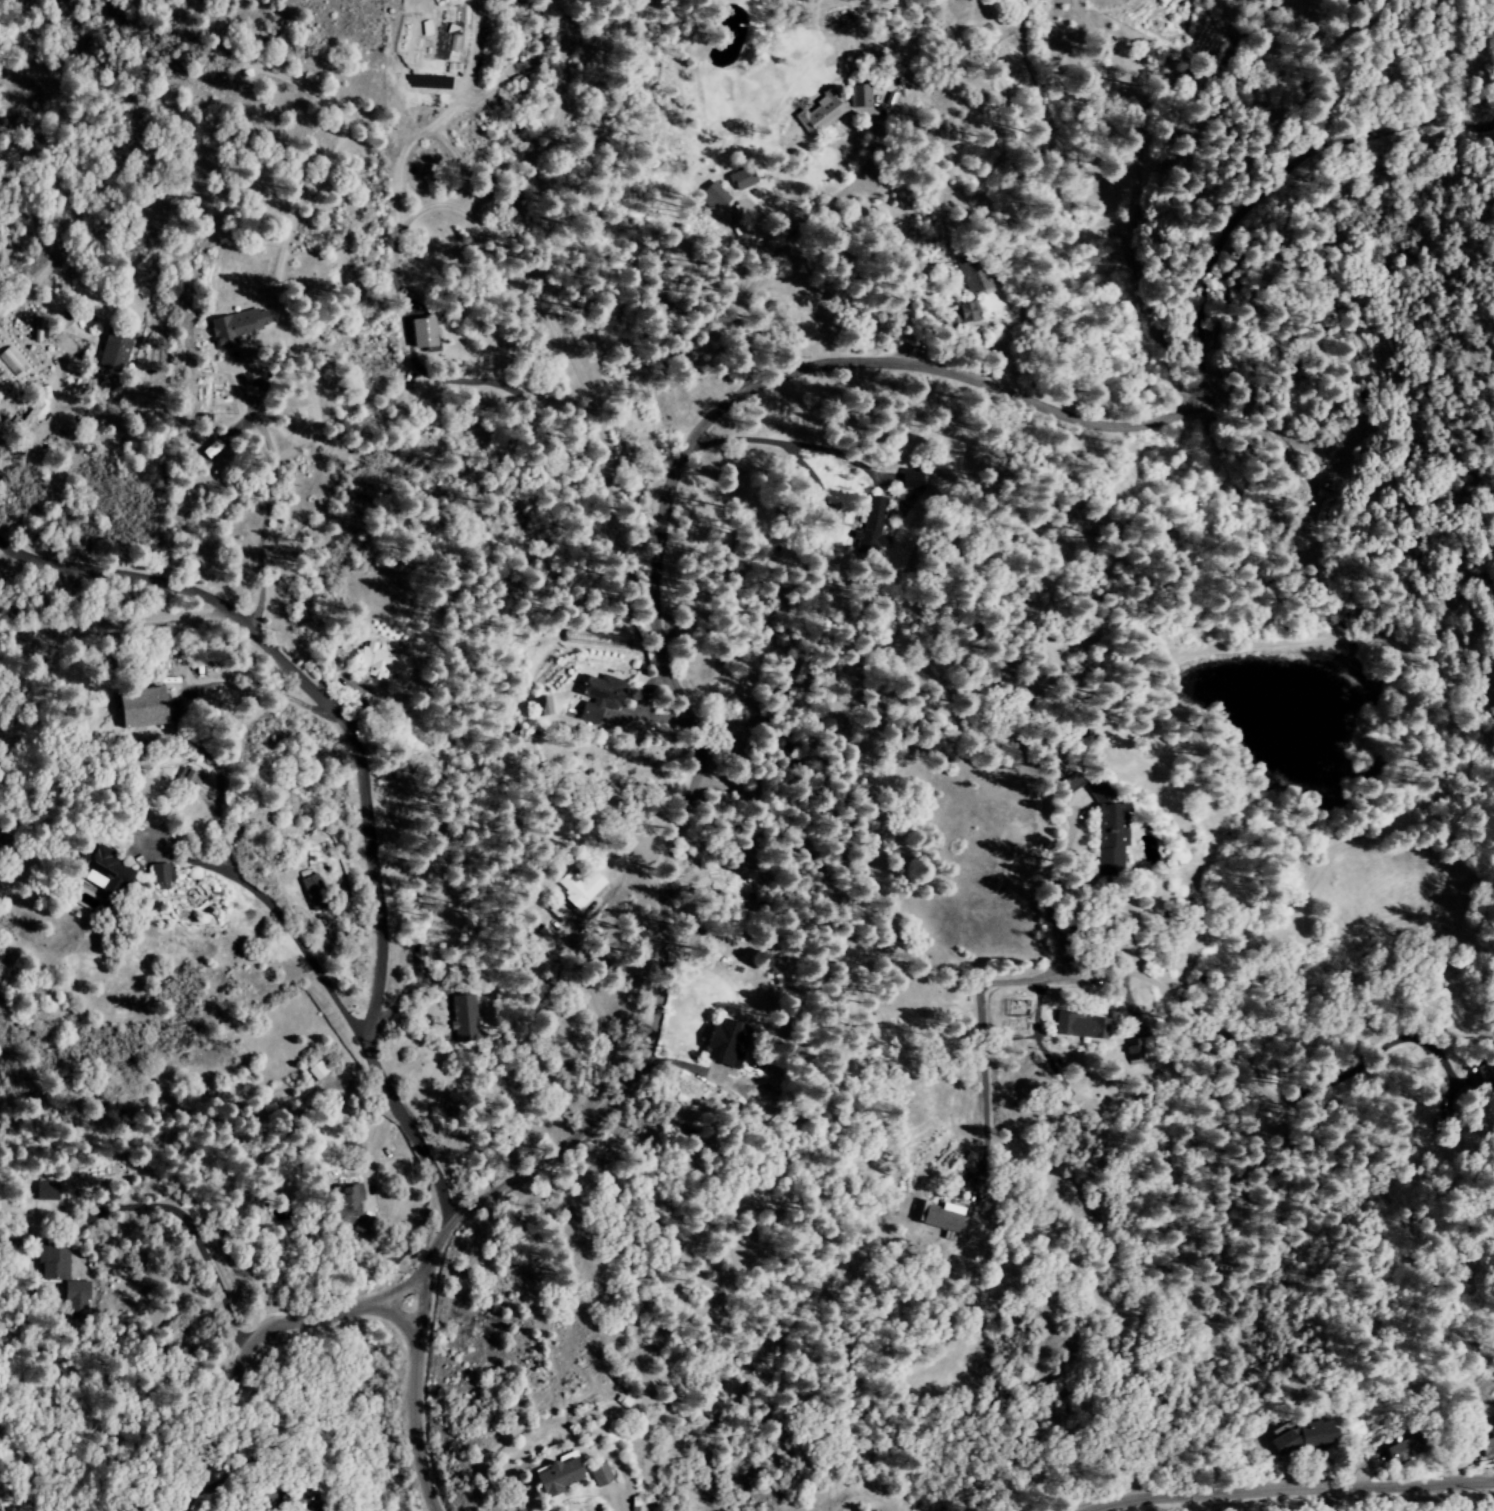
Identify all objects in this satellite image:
building: (811, 113)
building: (733, 178)
building: (707, 194)
road: (786, 240)
building: (966, 279)
building: (959, 310)
building: (231, 326)
road: (1139, 421)
road: (29, 441)
road: (266, 494)
building: (869, 523)
building: (381, 660)
building: (591, 695)
building: (534, 705)
building: (141, 708)
road: (354, 775)
building: (1100, 834)
building: (101, 870)
building: (158, 874)
building: (576, 887)
building: (313, 893)
road: (669, 896)
building: (554, 910)
road: (286, 924)
road: (856, 930)
building: (1077, 1026)
building: (709, 1039)
road: (979, 1078)
building: (349, 1205)
building: (912, 1211)
building: (937, 1217)
road: (426, 1254)
building: (50, 1262)
road: (243, 1348)
road: (407, 1410)
building: (1299, 1436)
building: (1486, 1442)
building: (591, 1472)
building: (549, 1475)
road: (1281, 1489)

